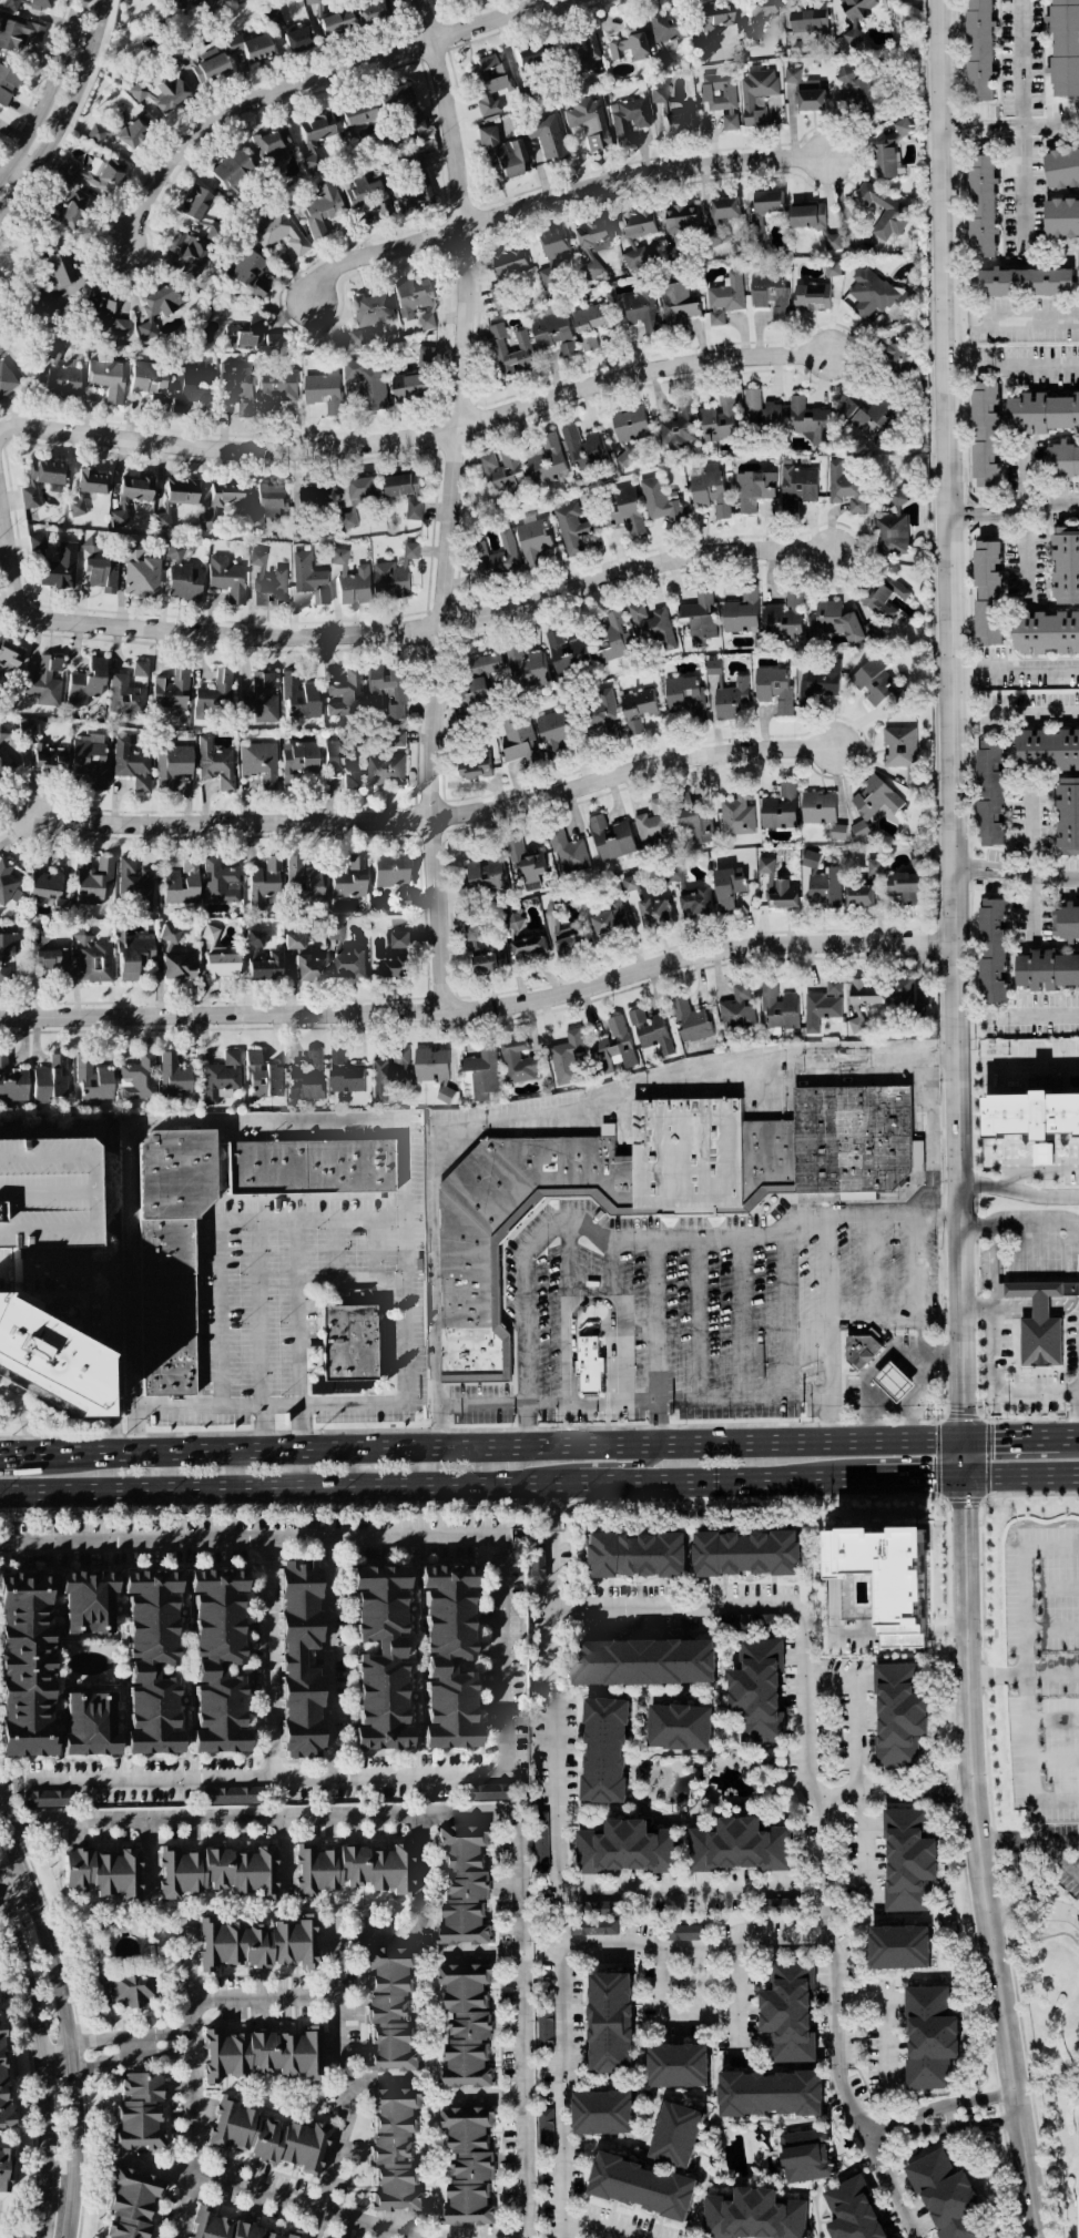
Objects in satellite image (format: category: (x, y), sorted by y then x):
building: (196, 1)
building: (13, 4)
building: (175, 4)
building: (39, 6)
building: (762, 8)
building: (373, 13)
building: (854, 17)
building: (808, 20)
building: (336, 24)
building: (712, 24)
building: (668, 29)
building: (18, 34)
building: (747, 38)
building: (297, 40)
building: (629, 43)
building: (1065, 48)
building: (979, 50)
building: (582, 52)
building: (528, 57)
building: (207, 67)
road: (313, 80)
building: (489, 82)
building: (8, 84)
building: (864, 88)
road: (50, 90)
building: (806, 90)
building: (161, 92)
building: (659, 94)
building: (756, 94)
building: (720, 96)
building: (401, 108)
building: (671, 109)
building: (357, 113)
road: (67, 115)
building: (628, 119)
building: (589, 123)
building: (678, 124)
road: (1020, 125)
building: (902, 126)
road: (1009, 126)
building: (99, 132)
building: (132, 133)
building: (315, 138)
building: (546, 138)
building: (273, 144)
building: (501, 155)
building: (884, 160)
building: (1061, 166)
building: (232, 169)
road: (20, 170)
building: (95, 174)
building: (414, 189)
building: (366, 194)
road: (558, 200)
building: (768, 201)
building: (981, 205)
building: (322, 207)
building: (724, 207)
building: (70, 208)
building: (196, 208)
building: (882, 210)
building: (807, 216)
building: (1061, 217)
building: (682, 220)
building: (278, 233)
building: (637, 234)
building: (592, 236)
building: (832, 241)
building: (186, 250)
building: (552, 254)
building: (1078, 254)
building: (510, 263)
building: (831, 268)
building: (248, 274)
building: (63, 276)
building: (1022, 282)
building: (770, 292)
building: (873, 292)
building: (811, 295)
building: (411, 296)
building: (500, 296)
building: (724, 297)
building: (45, 301)
building: (676, 302)
building: (101, 307)
building: (157, 308)
building: (373, 308)
building: (641, 312)
road: (1010, 318)
building: (427, 322)
building: (589, 324)
building: (121, 327)
building: (553, 334)
building: (244, 336)
building: (357, 337)
building: (273, 340)
park: (3, 345)
building: (509, 348)
building: (52, 350)
building: (426, 356)
building: (899, 357)
road: (1011, 368)
building: (147, 378)
building: (106, 379)
building: (6, 380)
building: (61, 380)
building: (368, 382)
building: (411, 386)
building: (237, 388)
building: (276, 388)
building: (324, 390)
building: (760, 410)
building: (1041, 413)
building: (871, 414)
building: (719, 419)
building: (808, 420)
building: (630, 425)
building: (676, 425)
building: (984, 434)
road: (416, 435)
building: (583, 447)
building: (547, 460)
building: (1062, 460)
building: (501, 468)
building: (48, 475)
building: (91, 482)
building: (401, 485)
building: (796, 486)
building: (362, 487)
building: (845, 487)
building: (709, 489)
building: (753, 489)
building: (131, 496)
building: (316, 496)
building: (29, 498)
building: (175, 499)
building: (659, 501)
building: (221, 503)
road: (451, 503)
building: (266, 505)
building: (75, 508)
building: (414, 509)
road: (1012, 509)
building: (625, 511)
building: (347, 519)
road: (1024, 521)
building: (894, 525)
building: (571, 526)
building: (532, 540)
building: (37, 542)
building: (495, 558)
building: (1065, 563)
building: (59, 568)
building: (141, 572)
building: (395, 573)
building: (101, 574)
building: (182, 577)
building: (309, 578)
building: (226, 579)
building: (350, 579)
building: (267, 582)
building: (902, 592)
building: (987, 592)
building: (880, 597)
building: (741, 611)
building: (784, 616)
building: (698, 617)
building: (833, 622)
building: (1047, 632)
road: (366, 633)
building: (614, 637)
building: (566, 652)
building: (8, 660)
building: (526, 667)
building: (712, 667)
building: (140, 669)
road: (1015, 671)
building: (480, 678)
building: (817, 680)
building: (45, 682)
building: (86, 682)
building: (875, 683)
building: (774, 689)
building: (171, 690)
building: (346, 694)
building: (214, 695)
building: (124, 696)
building: (298, 696)
building: (685, 696)
building: (396, 698)
building: (261, 699)
building: (731, 699)
building: (639, 702)
building: (603, 713)
road: (1015, 714)
building: (634, 728)
building: (26, 730)
building: (553, 732)
building: (2, 733)
road: (951, 737)
building: (520, 742)
building: (898, 746)
building: (1047, 749)
building: (48, 760)
building: (90, 760)
building: (299, 761)
building: (259, 763)
building: (344, 763)
building: (4, 764)
building: (132, 764)
building: (215, 764)
building: (173, 765)
building: (474, 766)
building: (385, 769)
building: (910, 775)
building: (989, 793)
building: (874, 797)
building: (817, 806)
building: (780, 807)
building: (736, 814)
building: (1067, 815)
road: (434, 818)
building: (652, 825)
building: (695, 825)
building: (859, 828)
building: (837, 831)
building: (610, 837)
building: (567, 852)
building: (917, 857)
building: (810, 858)
road: (1028, 858)
building: (525, 861)
building: (873, 864)
building: (390, 871)
building: (486, 874)
road: (1016, 877)
building: (350, 879)
building: (6, 882)
building: (93, 882)
building: (303, 882)
building: (135, 883)
building: (220, 883)
building: (264, 883)
building: (629, 883)
building: (182, 884)
building: (775, 886)
building: (904, 886)
building: (826, 887)
building: (726, 888)
building: (859, 895)
building: (403, 901)
building: (695, 903)
building: (653, 911)
building: (1066, 922)
building: (610, 923)
building: (335, 932)
building: (470, 932)
building: (561, 933)
building: (169, 934)
building: (210, 934)
building: (254, 938)
building: (400, 939)
building: (293, 942)
building: (8, 946)
building: (529, 948)
building: (991, 952)
building: (134, 956)
building: (92, 958)
building: (47, 962)
building: (488, 962)
building: (222, 964)
building: (349, 964)
building: (395, 966)
building: (177, 967)
building: (266, 967)
building: (308, 968)
building: (1046, 969)
building: (4, 976)
building: (833, 986)
building: (906, 996)
building: (863, 1001)
building: (778, 1006)
road: (480, 1008)
building: (736, 1009)
building: (820, 1009)
road: (1018, 1018)
building: (690, 1020)
building: (650, 1032)
building: (614, 1046)
building: (567, 1057)
building: (518, 1061)
road: (1018, 1062)
building: (430, 1065)
building: (481, 1071)
building: (344, 1074)
building: (389, 1074)
building: (308, 1076)
building: (262, 1077)
building: (139, 1078)
building: (174, 1078)
building: (221, 1078)
building: (50, 1080)
building: (93, 1080)
building: (12, 1084)
building: (1030, 1115)
road: (539, 1118)
road: (308, 1121)
building: (1041, 1153)
building: (916, 1154)
building: (311, 1167)
road: (1038, 1171)
building: (652, 1187)
building: (47, 1193)
road: (1019, 1193)
road: (221, 1222)
road: (723, 1239)
road: (108, 1242)
building: (170, 1253)
road: (914, 1264)
road: (569, 1266)
road: (872, 1266)
road: (609, 1272)
road: (64, 1274)
road: (6, 1275)
road: (16, 1275)
road: (302, 1286)
road: (831, 1295)
road: (591, 1298)
road: (261, 1315)
road: (784, 1319)
road: (698, 1320)
road: (741, 1320)
building: (1039, 1322)
road: (926, 1341)
road: (655, 1344)
building: (858, 1351)
road: (944, 1352)
building: (48, 1364)
building: (589, 1366)
road: (907, 1366)
road: (808, 1371)
road: (832, 1377)
road: (894, 1381)
building: (893, 1382)
road: (865, 1383)
road: (878, 1397)
road: (913, 1400)
road: (997, 1401)
road: (481, 1404)
road: (889, 1406)
road: (186, 1413)
traffic signals: (961, 1415)
road: (833, 1417)
road: (527, 1426)
road: (263, 1432)
road: (132, 1435)
road: (1011, 1441)
road: (1071, 1441)
traffic signals: (994, 1442)
road: (490, 1449)
road: (9, 1455)
road: (622, 1464)
road: (1020, 1474)
road: (904, 1476)
traffic signals: (935, 1476)
road: (715, 1479)
road: (292, 1487)
road: (551, 1506)
traffic signals: (964, 1512)
building: (747, 1553)
building: (634, 1555)
building: (535, 1560)
building: (893, 1577)
road: (1021, 1584)
road: (1050, 1586)
building: (88, 1601)
road: (1051, 1628)
road: (946, 1630)
road: (903, 1631)
road: (853, 1632)
road: (502, 1646)
building: (447, 1657)
road: (802, 1657)
road: (332, 1658)
building: (380, 1658)
road: (269, 1659)
building: (298, 1660)
building: (152, 1661)
building: (217, 1661)
building: (644, 1661)
building: (26, 1665)
road: (1051, 1676)
building: (759, 1690)
building: (899, 1715)
road: (1052, 1719)
building: (90, 1726)
building: (681, 1726)
road: (1026, 1737)
building: (605, 1750)
road: (854, 1753)
road: (1053, 1759)
road: (9, 1783)
building: (492, 1791)
road: (950, 1793)
road: (868, 1794)
building: (233, 1796)
building: (47, 1799)
road: (479, 1818)
road: (21, 1823)
road: (559, 1841)
building: (540, 1842)
road: (1027, 1842)
building: (739, 1845)
building: (627, 1848)
road: (977, 1858)
building: (909, 1860)
road: (1060, 1860)
building: (354, 1869)
building: (102, 1872)
building: (217, 1872)
building: (464, 1885)
road: (16, 1889)
road: (1034, 1909)
building: (592, 1926)
building: (688, 1932)
building: (256, 1944)
building: (900, 1946)
road: (562, 1962)
building: (131, 1984)
road: (336, 2001)
road: (261, 2002)
road: (837, 2005)
building: (390, 2010)
building: (790, 2012)
road: (692, 2013)
road: (67, 2018)
road: (887, 2018)
building: (611, 2022)
building: (467, 2025)
road: (35, 2026)
building: (544, 2028)
building: (930, 2037)
road: (177, 2043)
road: (120, 2047)
road: (58, 2053)
building: (261, 2054)
building: (679, 2065)
road: (193, 2077)
building: (2, 2087)
building: (771, 2093)
road: (959, 2102)
building: (138, 2113)
building: (603, 2113)
road: (855, 2116)
road: (939, 2127)
building: (546, 2130)
building: (676, 2134)
building: (266, 2137)
building: (395, 2149)
building: (804, 2155)
building: (469, 2165)
building: (4, 2168)
building: (643, 2186)
building: (947, 2196)
road: (895, 2201)
road: (42, 2203)
building: (131, 2204)
road: (291, 2209)
building: (854, 2210)
building: (753, 2215)
building: (228, 2227)
road: (596, 2227)

